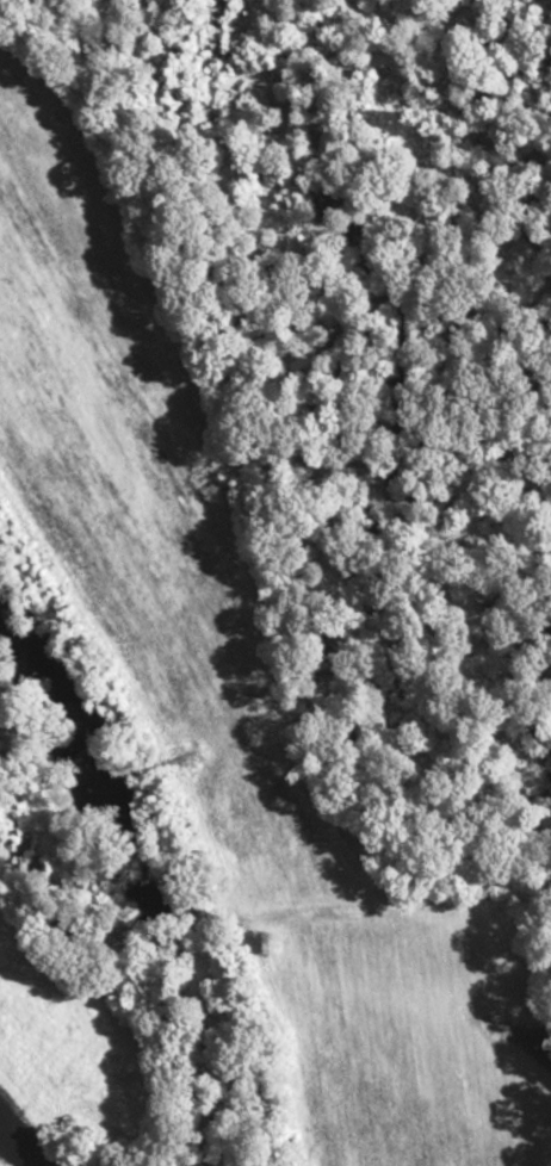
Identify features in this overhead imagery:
crop: (239, 665)
crop: (80, 1050)

